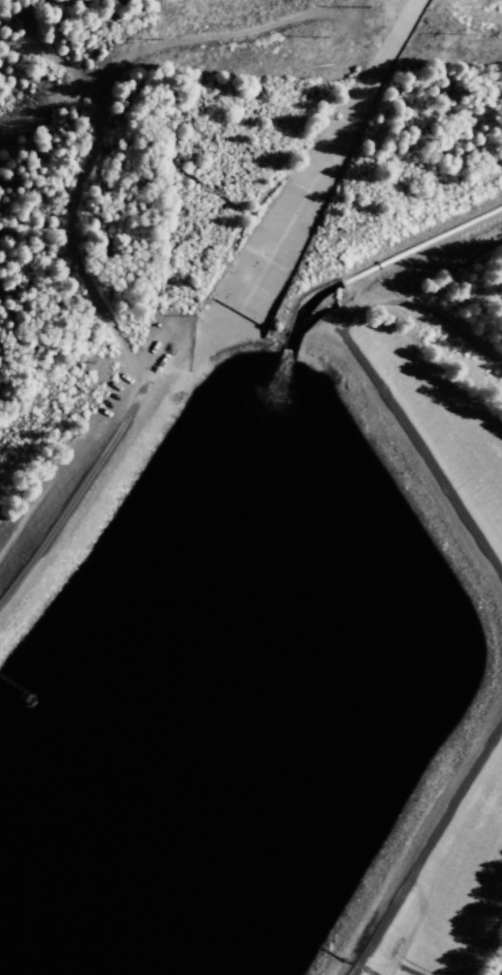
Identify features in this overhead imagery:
road: (67, 262)
road: (365, 379)
dam: (86, 467)
road: (81, 476)
dam: (490, 634)
road: (418, 842)

